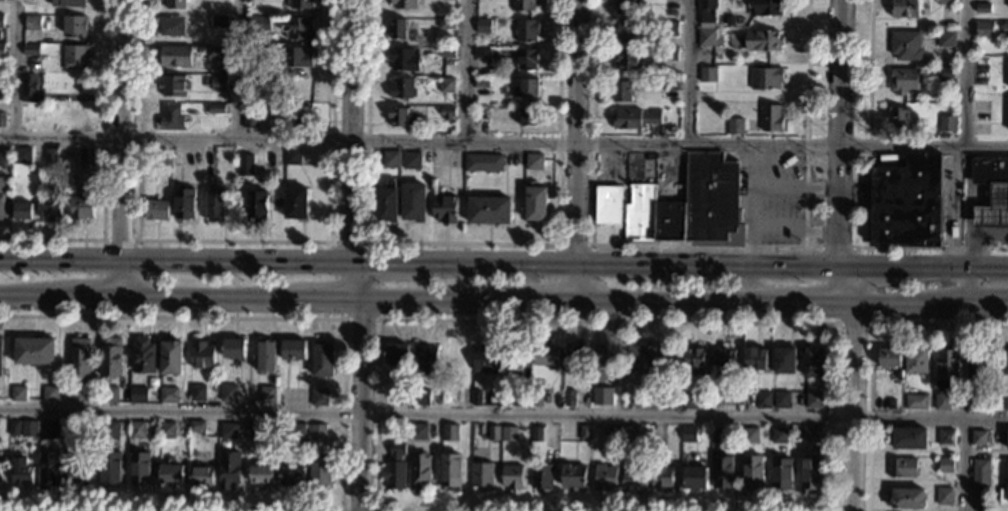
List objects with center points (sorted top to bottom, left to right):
building: (1, 0)
building: (448, 0)
building: (671, 1)
building: (67, 3)
building: (945, 3)
building: (174, 4)
building: (300, 5)
building: (404, 5)
building: (524, 6)
building: (625, 7)
building: (765, 8)
building: (905, 9)
building: (982, 9)
building: (706, 10)
building: (1, 21)
building: (219, 21)
building: (730, 21)
building: (740, 21)
building: (32, 22)
building: (253, 24)
building: (447, 24)
building: (74, 26)
building: (483, 26)
building: (171, 27)
building: (296, 28)
building: (669, 29)
building: (1005, 29)
building: (398, 30)
building: (984, 30)
building: (526, 31)
building: (630, 32)
building: (705, 38)
building: (945, 39)
building: (762, 42)
building: (905, 46)
building: (29, 49)
building: (1, 50)
building: (447, 53)
building: (481, 53)
building: (214, 54)
building: (73, 56)
building: (174, 56)
building: (670, 56)
building: (296, 58)
building: (403, 60)
building: (526, 60)
building: (627, 61)
building: (255, 68)
road: (237, 70)
road: (17, 71)
road: (467, 72)
road: (688, 73)
building: (943, 73)
road: (966, 74)
building: (707, 75)
building: (456, 78)
building: (765, 79)
building: (903, 81)
building: (217, 83)
building: (254, 83)
building: (482, 84)
building: (445, 85)
building: (173, 86)
building: (669, 86)
building: (30, 88)
building: (298, 88)
building: (401, 89)
building: (525, 89)
building: (621, 91)
building: (0, 93)
building: (247, 102)
building: (215, 109)
building: (69, 112)
building: (447, 113)
building: (300, 116)
road: (838, 116)
building: (170, 117)
building: (527, 117)
building: (401, 118)
building: (633, 119)
building: (770, 119)
building: (1, 120)
building: (250, 121)
building: (900, 121)
building: (26, 122)
road: (806, 123)
building: (946, 124)
building: (734, 126)
road: (121, 129)
road: (352, 131)
road: (503, 144)
road: (575, 150)
building: (20, 156)
building: (49, 156)
building: (291, 157)
building: (5, 158)
building: (164, 158)
building: (390, 159)
building: (410, 161)
building: (483, 162)
building: (533, 162)
building: (255, 165)
building: (449, 165)
road: (752, 166)
building: (244, 168)
road: (103, 170)
building: (989, 171)
road: (757, 187)
road: (867, 194)
building: (0, 196)
parking lot: (770, 196)
building: (387, 202)
building: (413, 202)
road: (971, 202)
building: (295, 203)
building: (907, 203)
building: (184, 204)
building: (256, 204)
building: (534, 204)
building: (607, 205)
building: (214, 206)
building: (689, 206)
building: (81, 208)
building: (155, 210)
building: (445, 210)
building: (488, 210)
building: (993, 210)
building: (21, 211)
building: (51, 212)
road: (795, 225)
road: (591, 228)
road: (979, 239)
road: (232, 241)
road: (461, 243)
road: (573, 244)
road: (811, 247)
road: (837, 247)
road: (861, 247)
road: (59, 258)
road: (234, 261)
road: (136, 262)
road: (623, 262)
road: (380, 263)
road: (922, 264)
road: (119, 278)
road: (844, 282)
road: (973, 283)
road: (34, 296)
road: (93, 297)
road: (194, 298)
road: (314, 299)
road: (424, 300)
road: (531, 300)
road: (673, 301)
road: (811, 302)
road: (911, 302)
road: (990, 302)
road: (378, 319)
road: (530, 319)
road: (836, 321)
building: (234, 348)
road: (869, 349)
building: (0, 350)
building: (293, 350)
building: (34, 351)
building: (203, 354)
building: (396, 354)
building: (455, 355)
building: (512, 355)
building: (545, 355)
building: (144, 356)
building: (111, 357)
building: (266, 357)
building: (485, 357)
building: (80, 358)
building: (171, 358)
building: (425, 358)
building: (574, 358)
building: (647, 358)
building: (723, 358)
building: (754, 358)
building: (889, 358)
building: (322, 359)
building: (784, 361)
building: (917, 361)
building: (694, 362)
building: (1005, 362)
building: (603, 363)
building: (814, 363)
building: (975, 366)
building: (946, 367)
road: (361, 386)
building: (198, 392)
building: (18, 393)
building: (50, 393)
building: (78, 393)
building: (229, 393)
building: (109, 394)
building: (139, 394)
building: (169, 394)
building: (268, 394)
building: (602, 396)
building: (319, 397)
building: (402, 397)
building: (421, 397)
building: (541, 397)
building: (477, 398)
building: (517, 398)
building: (569, 398)
building: (763, 400)
building: (781, 400)
building: (814, 400)
building: (690, 401)
building: (916, 402)
building: (942, 402)
building: (975, 402)
building: (1005, 402)
building: (891, 404)
road: (851, 407)
road: (504, 412)
road: (341, 413)
building: (29, 428)
building: (198, 428)
building: (14, 429)
building: (49, 429)
building: (80, 429)
building: (137, 429)
building: (109, 430)
building: (167, 430)
building: (225, 430)
building: (254, 430)
building: (298, 431)
building: (419, 431)
building: (317, 432)
building: (406, 432)
building: (450, 432)
building: (494, 433)
building: (585, 433)
building: (613, 433)
building: (630, 433)
building: (813, 433)
building: (508, 434)
building: (689, 434)
building: (537, 435)
building: (719, 435)
building: (750, 436)
building: (779, 436)
building: (946, 438)
building: (979, 438)
building: (909, 439)
building: (1007, 443)
building: (946, 465)
road: (963, 465)
building: (111, 467)
building: (140, 467)
building: (902, 467)
building: (395, 468)
building: (48, 469)
building: (229, 469)
building: (319, 469)
building: (21, 471)
building: (451, 471)
building: (79, 472)
building: (420, 472)
building: (661, 472)
building: (722, 472)
building: (752, 472)
building: (0, 473)
building: (171, 473)
building: (781, 473)
building: (810, 474)
building: (262, 475)
building: (980, 475)
building: (293, 476)
building: (482, 476)
building: (573, 476)
building: (634, 476)
building: (201, 477)
building: (513, 477)
building: (541, 477)
building: (695, 477)
building: (604, 478)
building: (1007, 486)
building: (1003, 495)
building: (945, 496)
building: (908, 498)
road: (357, 509)

